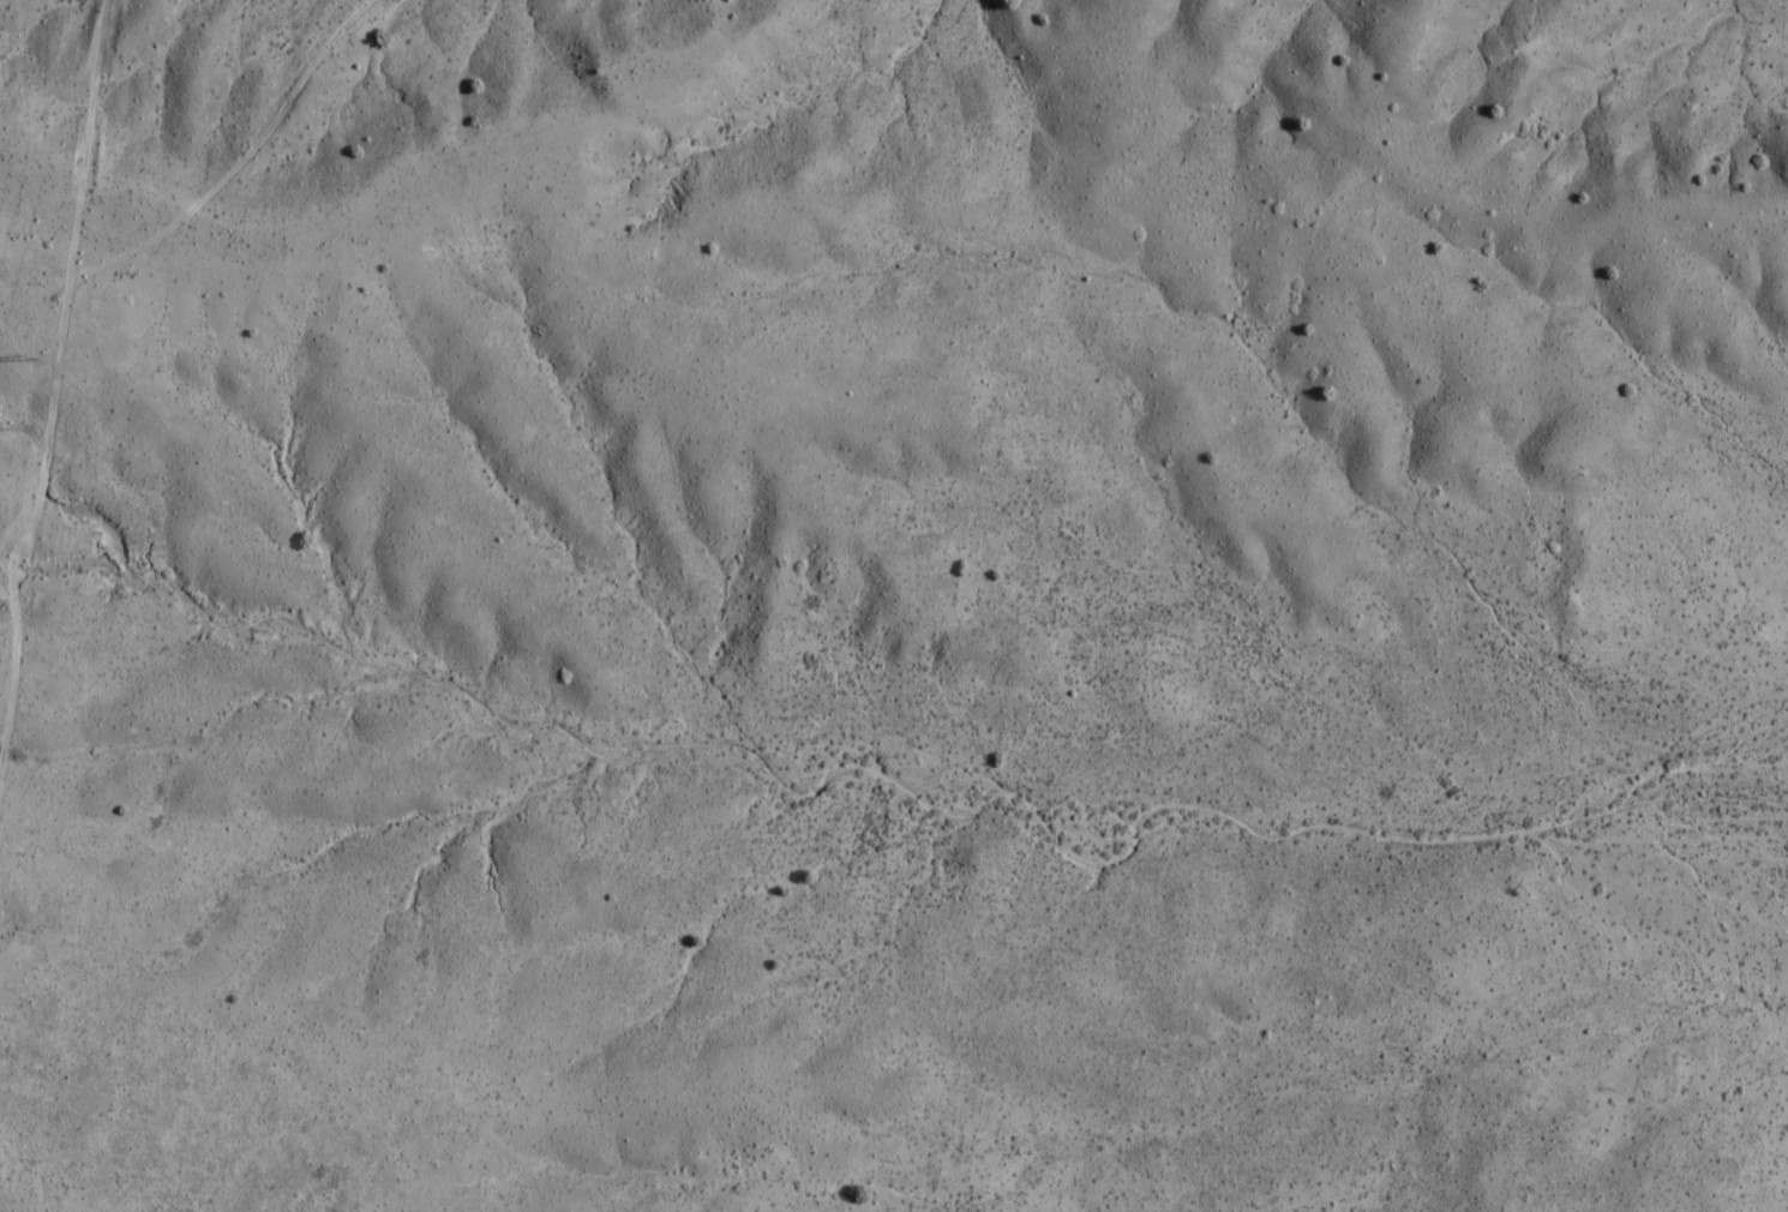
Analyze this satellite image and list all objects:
power tower: (37, 355)

